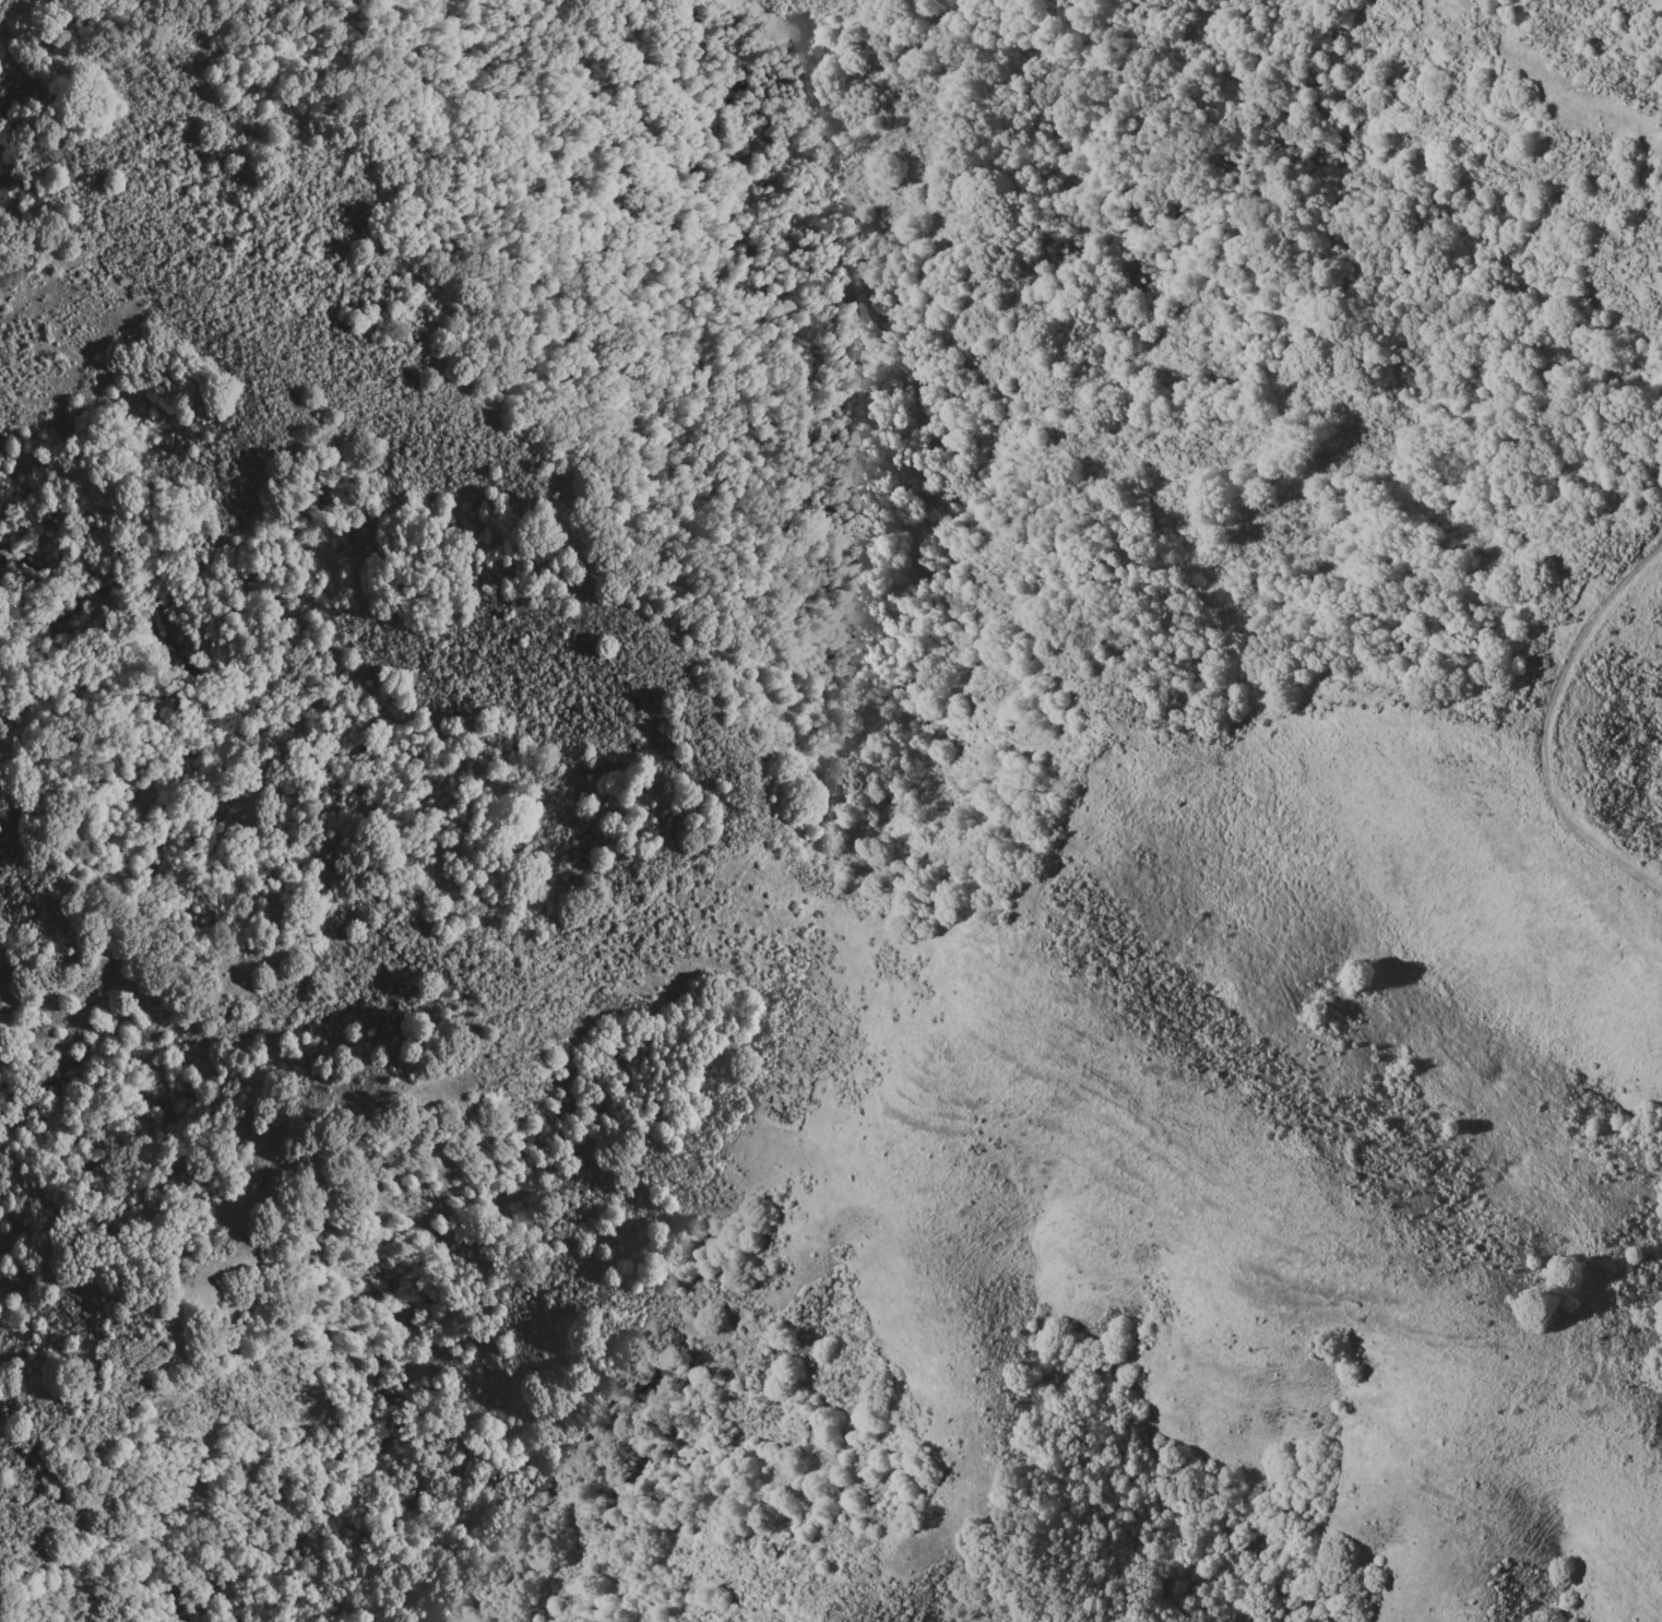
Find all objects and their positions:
road: (1546, 731)

